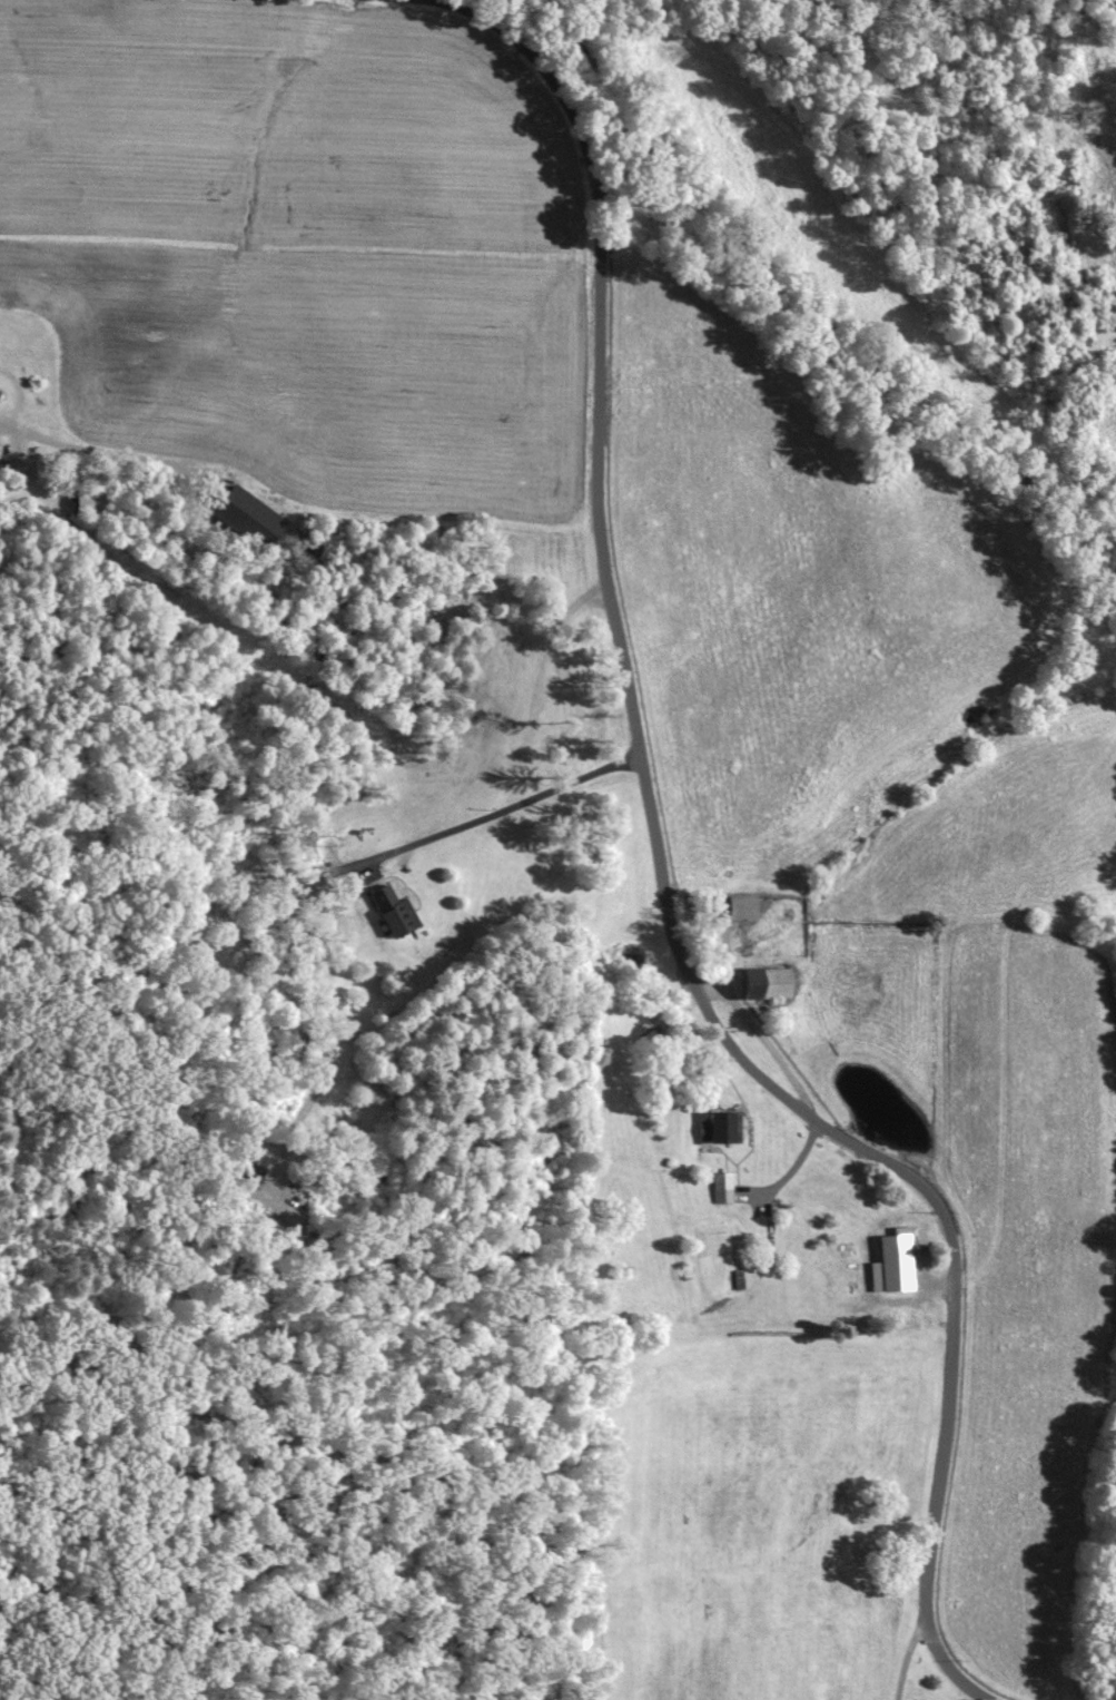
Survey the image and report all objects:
road: (502, 810)
road: (655, 884)
building: (732, 907)
building: (753, 982)
building: (713, 1128)
building: (717, 1187)
building: (887, 1262)

